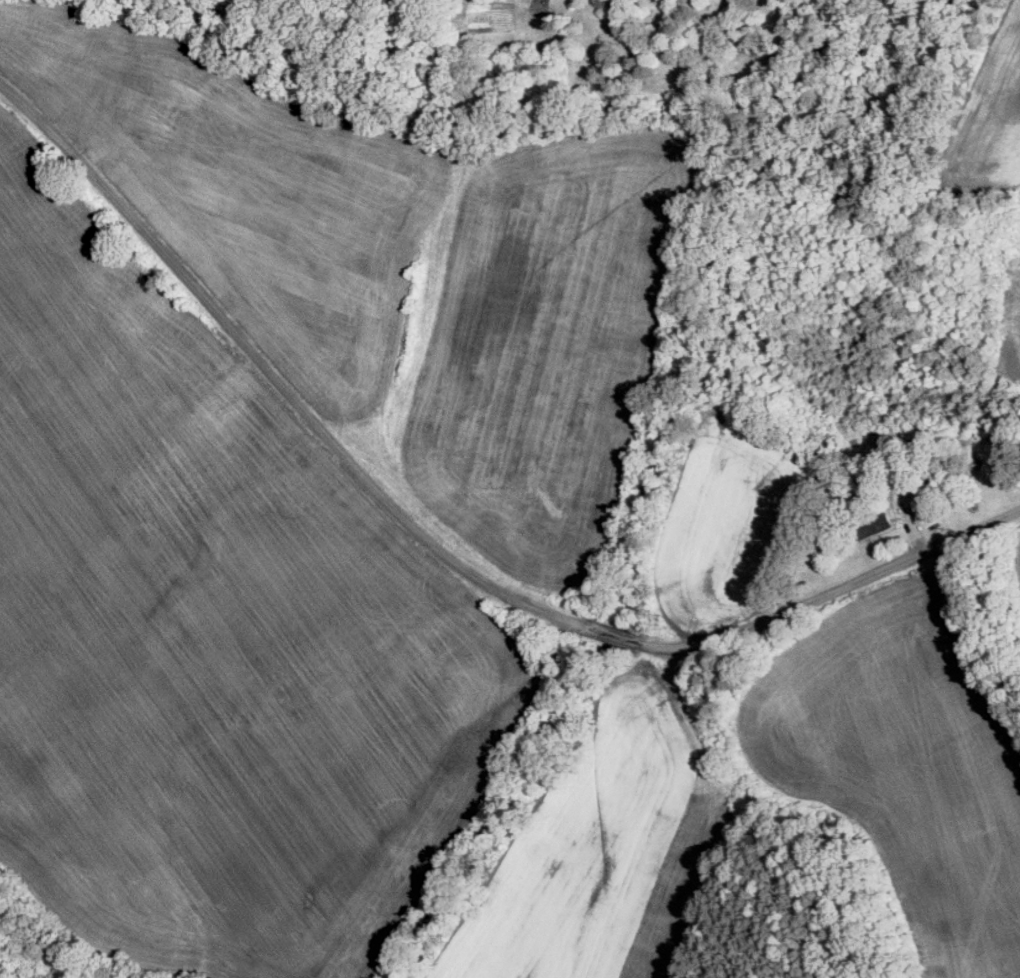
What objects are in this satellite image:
crop: (55, 57)
crop: (994, 135)
crop: (429, 294)
road: (275, 378)
crop: (729, 523)
building: (881, 525)
crop: (1015, 564)
road: (833, 594)
crop: (209, 630)
road: (612, 634)
road: (554, 649)
crop: (904, 757)
road: (454, 831)
crop: (611, 851)

